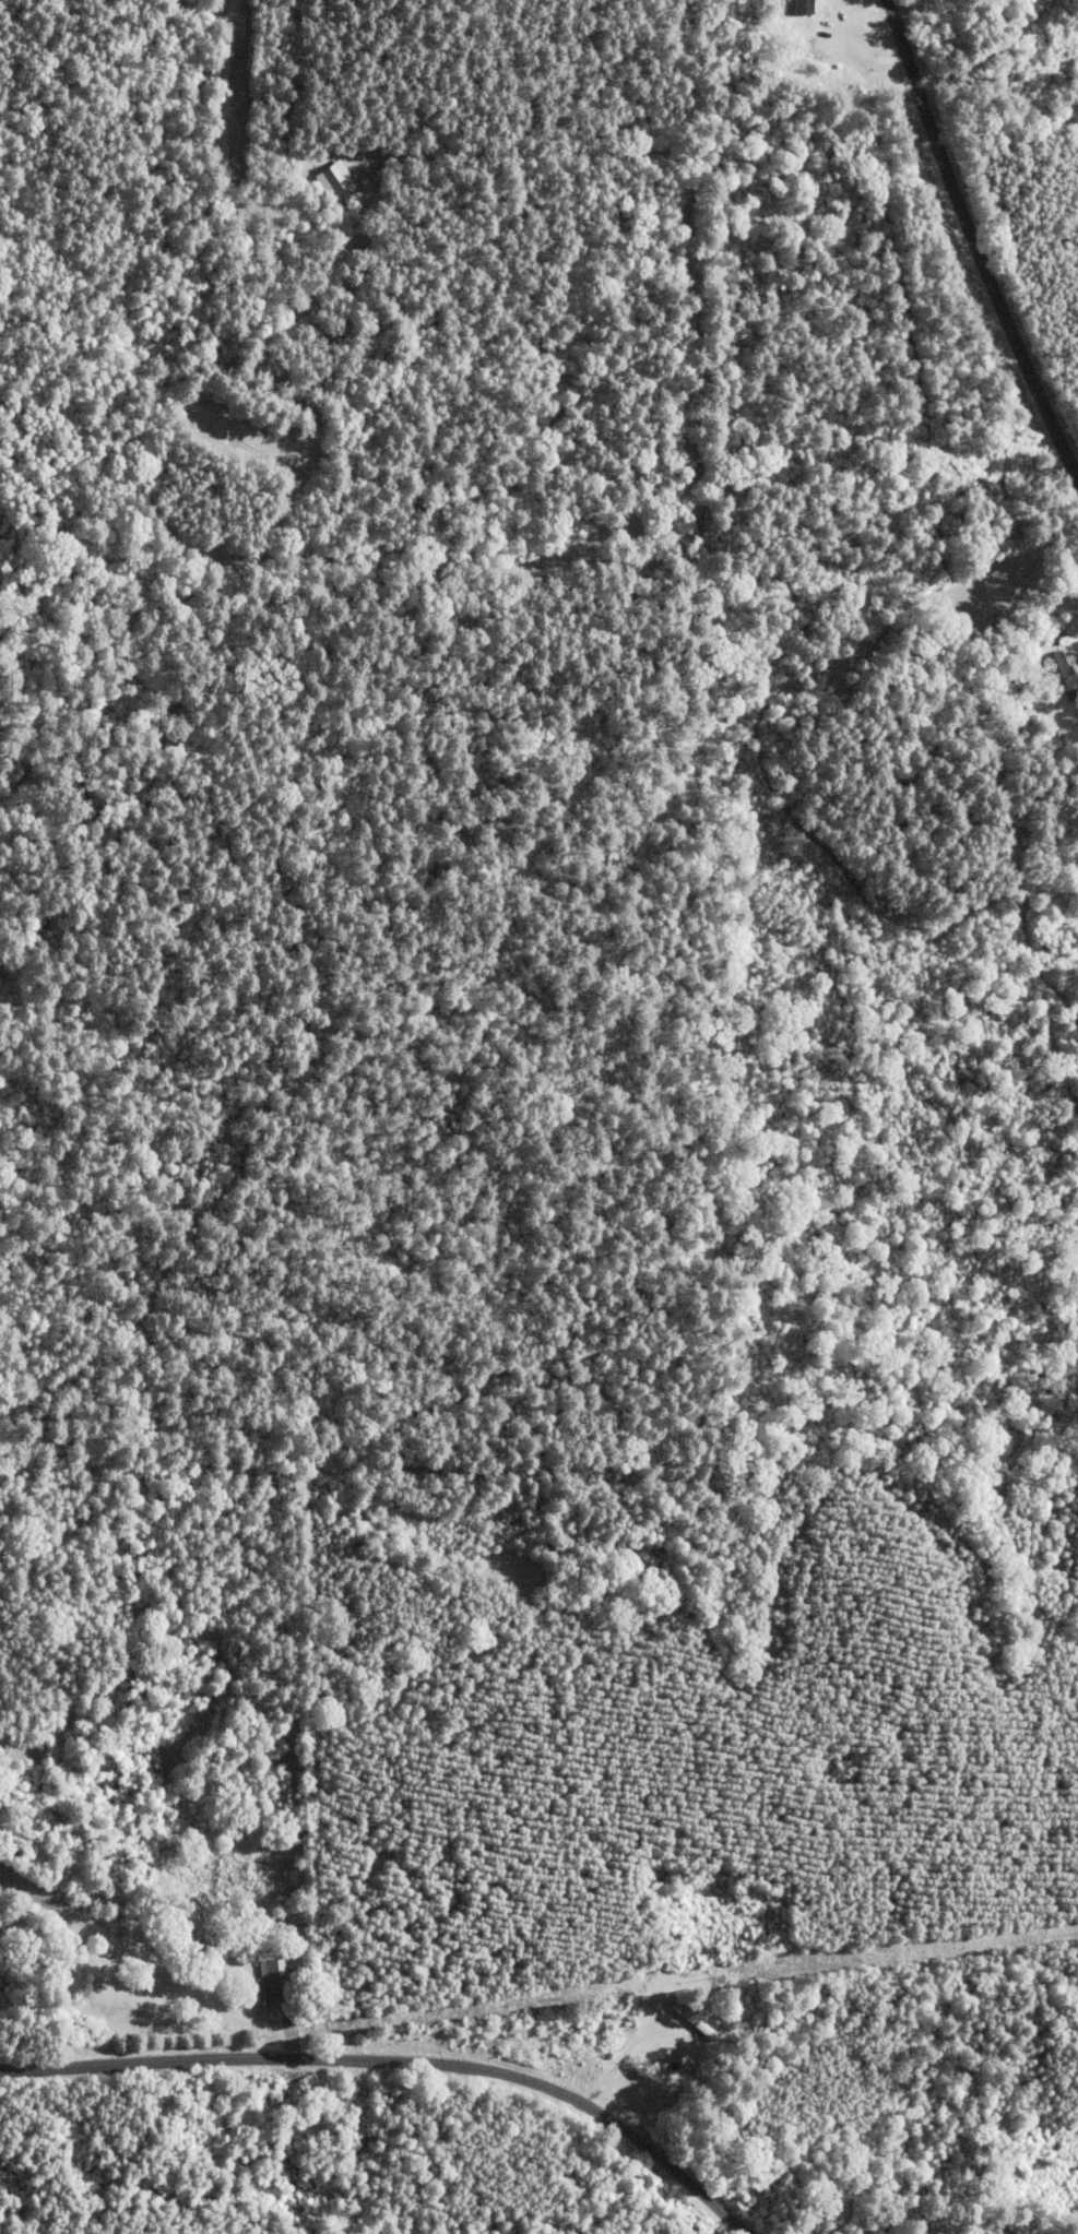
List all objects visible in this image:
building: (796, 7)
building: (319, 180)
road: (979, 289)
building: (1035, 672)
building: (281, 1981)
building: (682, 2020)
road: (396, 2046)

